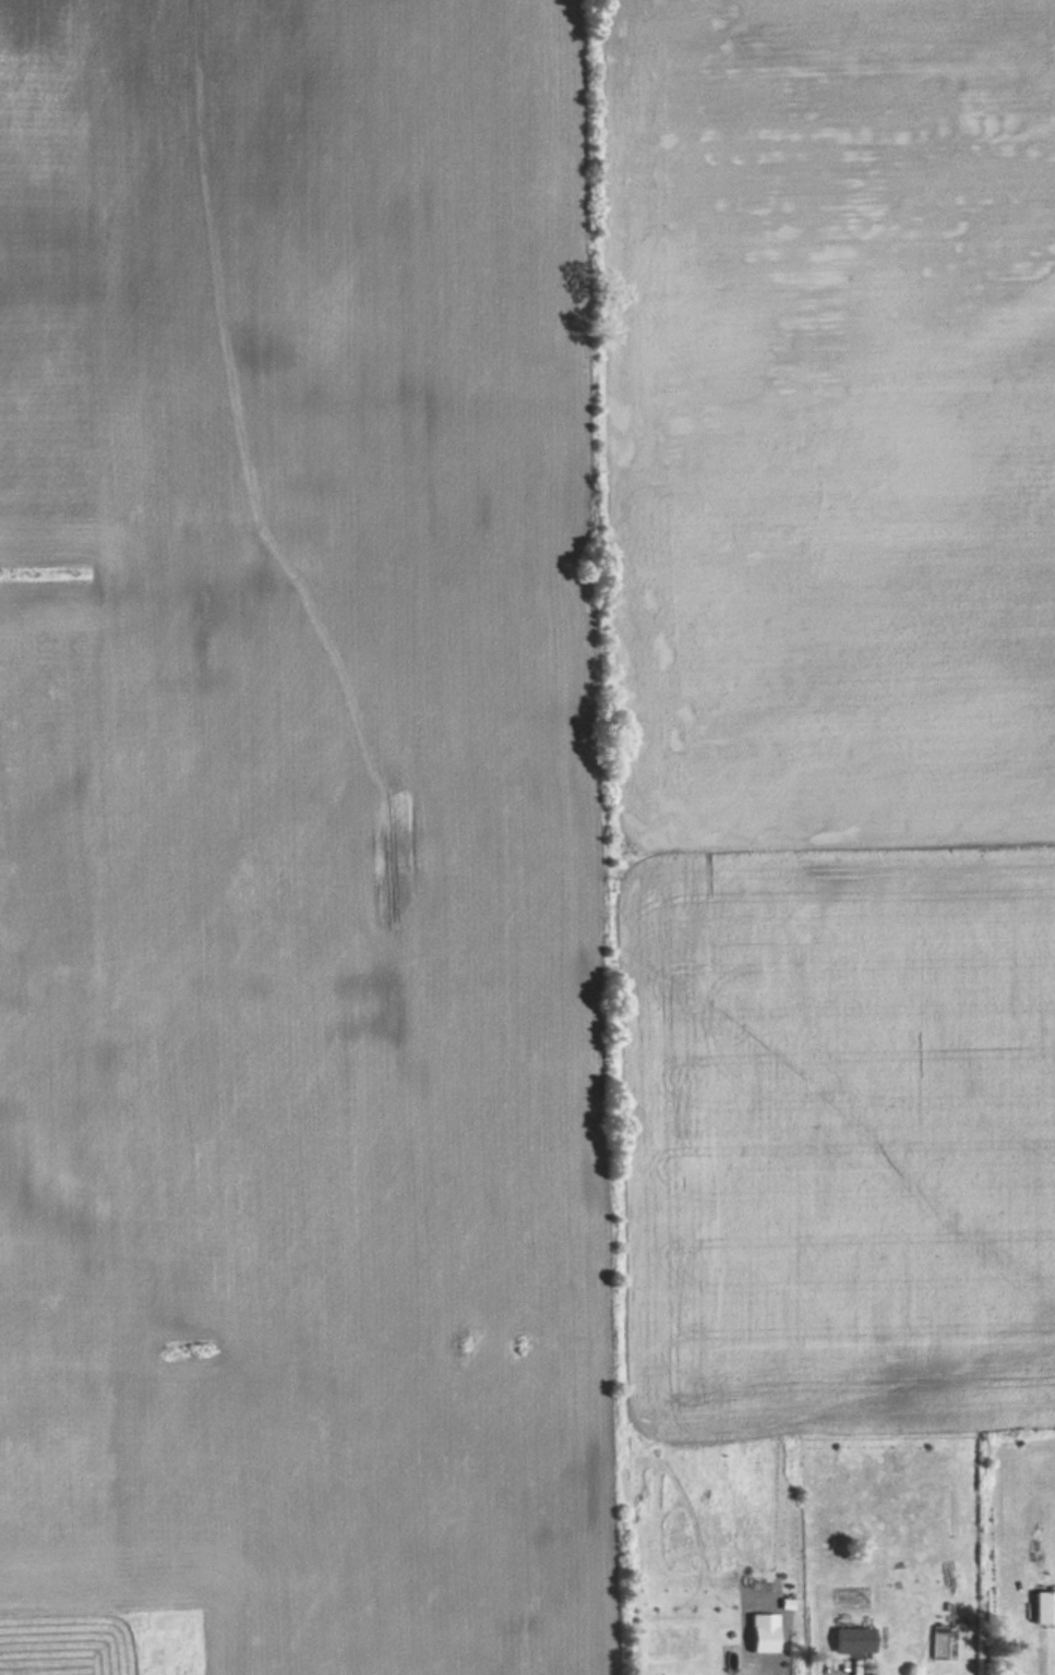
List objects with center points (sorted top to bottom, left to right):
building: (1041, 1608)
building: (758, 1639)
building: (848, 1641)

